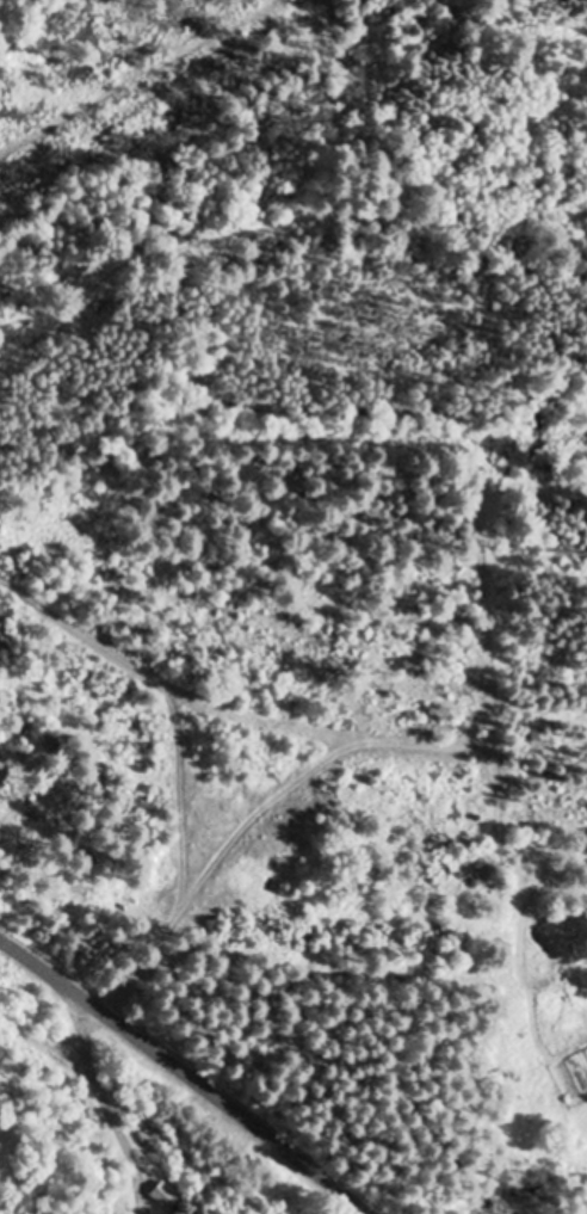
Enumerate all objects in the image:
road: (173, 873)
road: (172, 1080)
road: (131, 1111)
building: (165, 1197)

